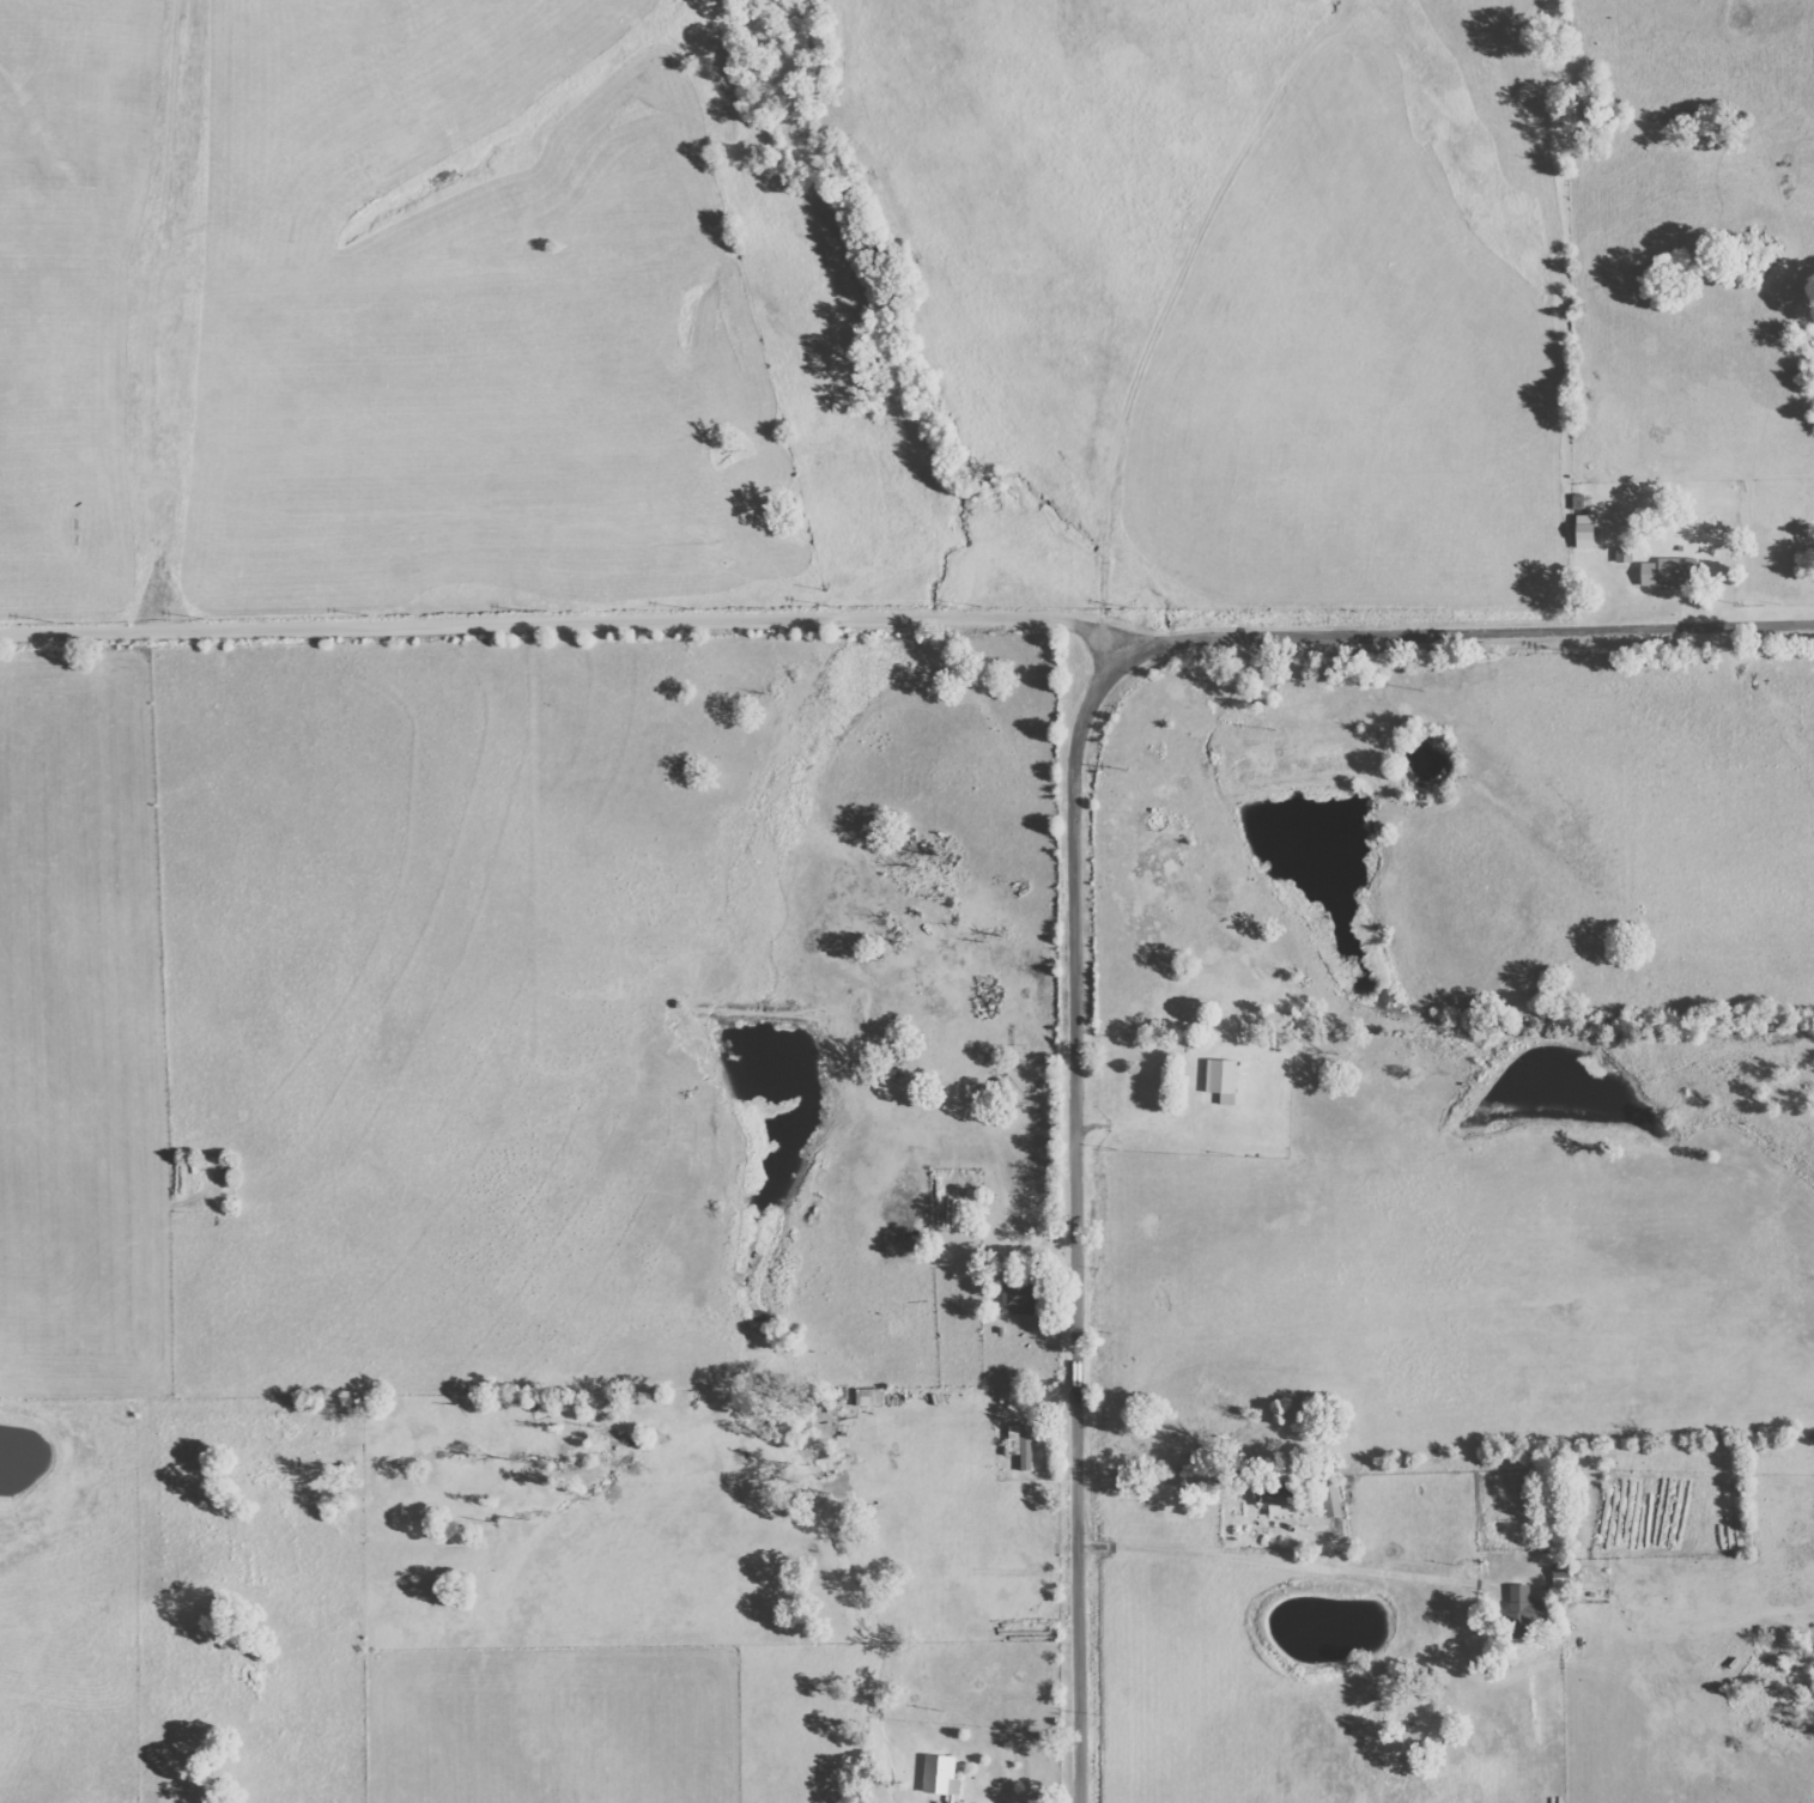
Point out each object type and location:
building: (1584, 532)
building: (1625, 554)
building: (1669, 572)
road: (571, 625)
road: (1470, 633)
building: (1220, 1076)
road: (1076, 1220)
building: (1019, 1298)
building: (1024, 1441)
building: (1273, 1497)
building: (1331, 1500)
building: (1524, 1611)
building: (941, 1775)

